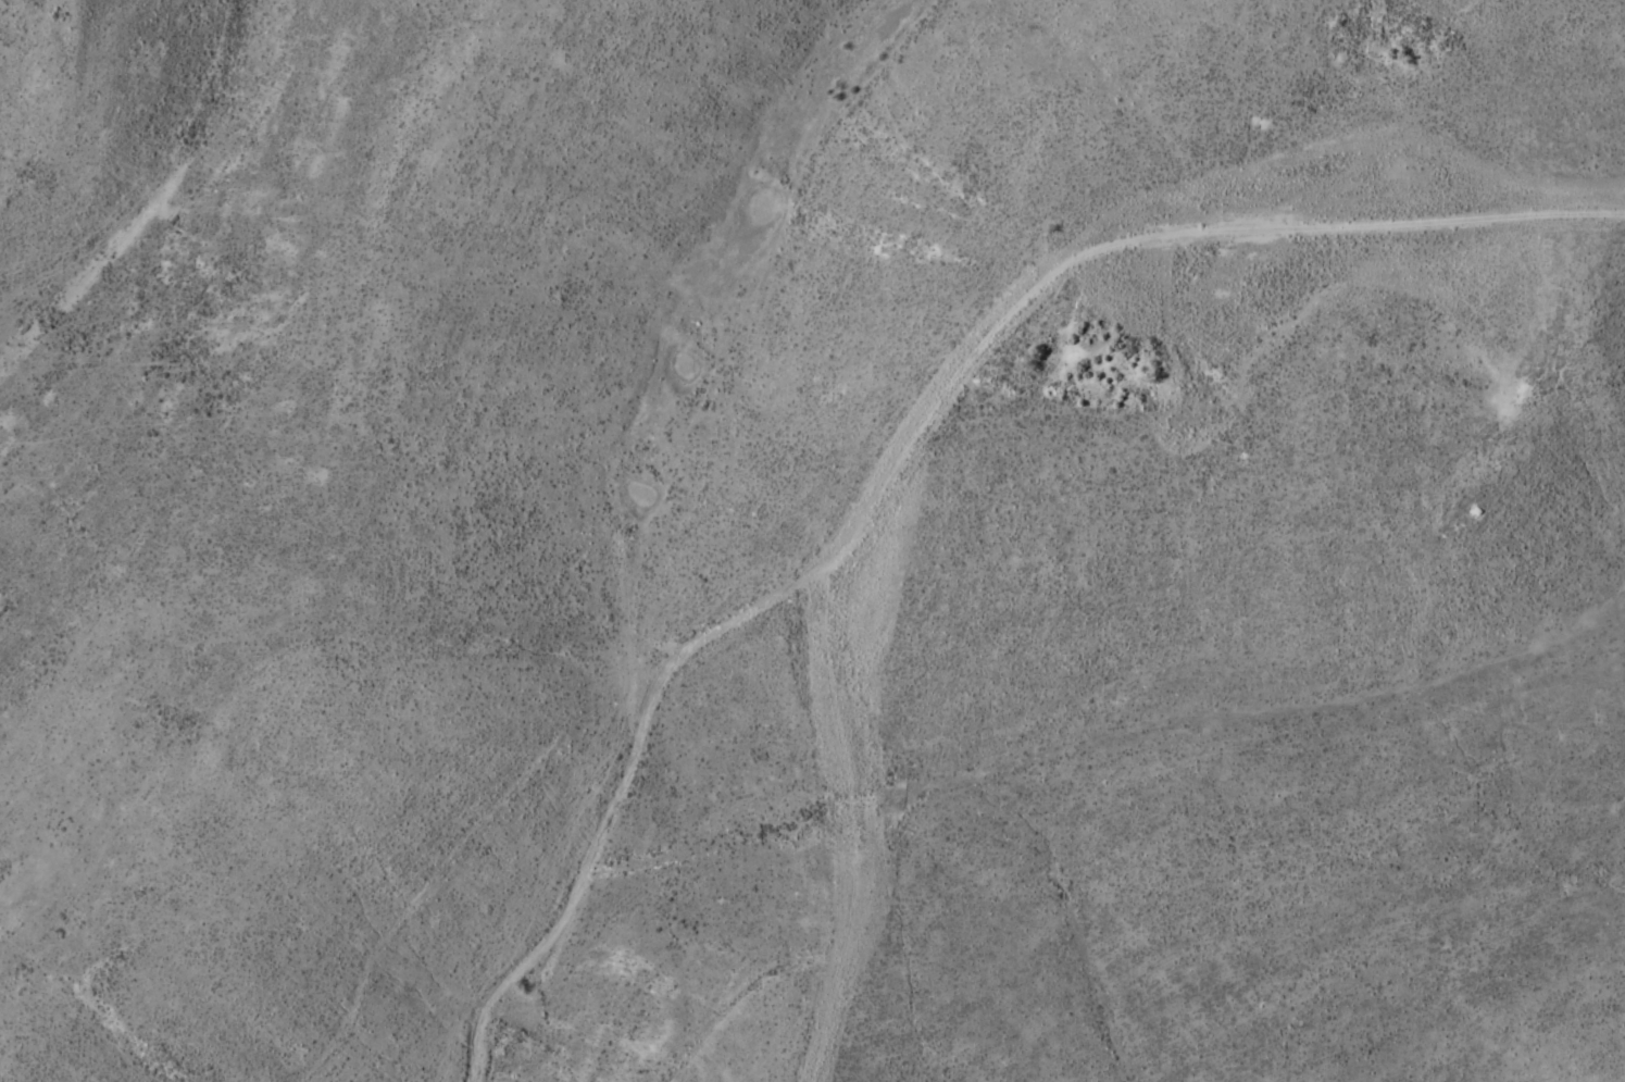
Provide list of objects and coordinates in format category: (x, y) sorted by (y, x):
road: (951, 377)

